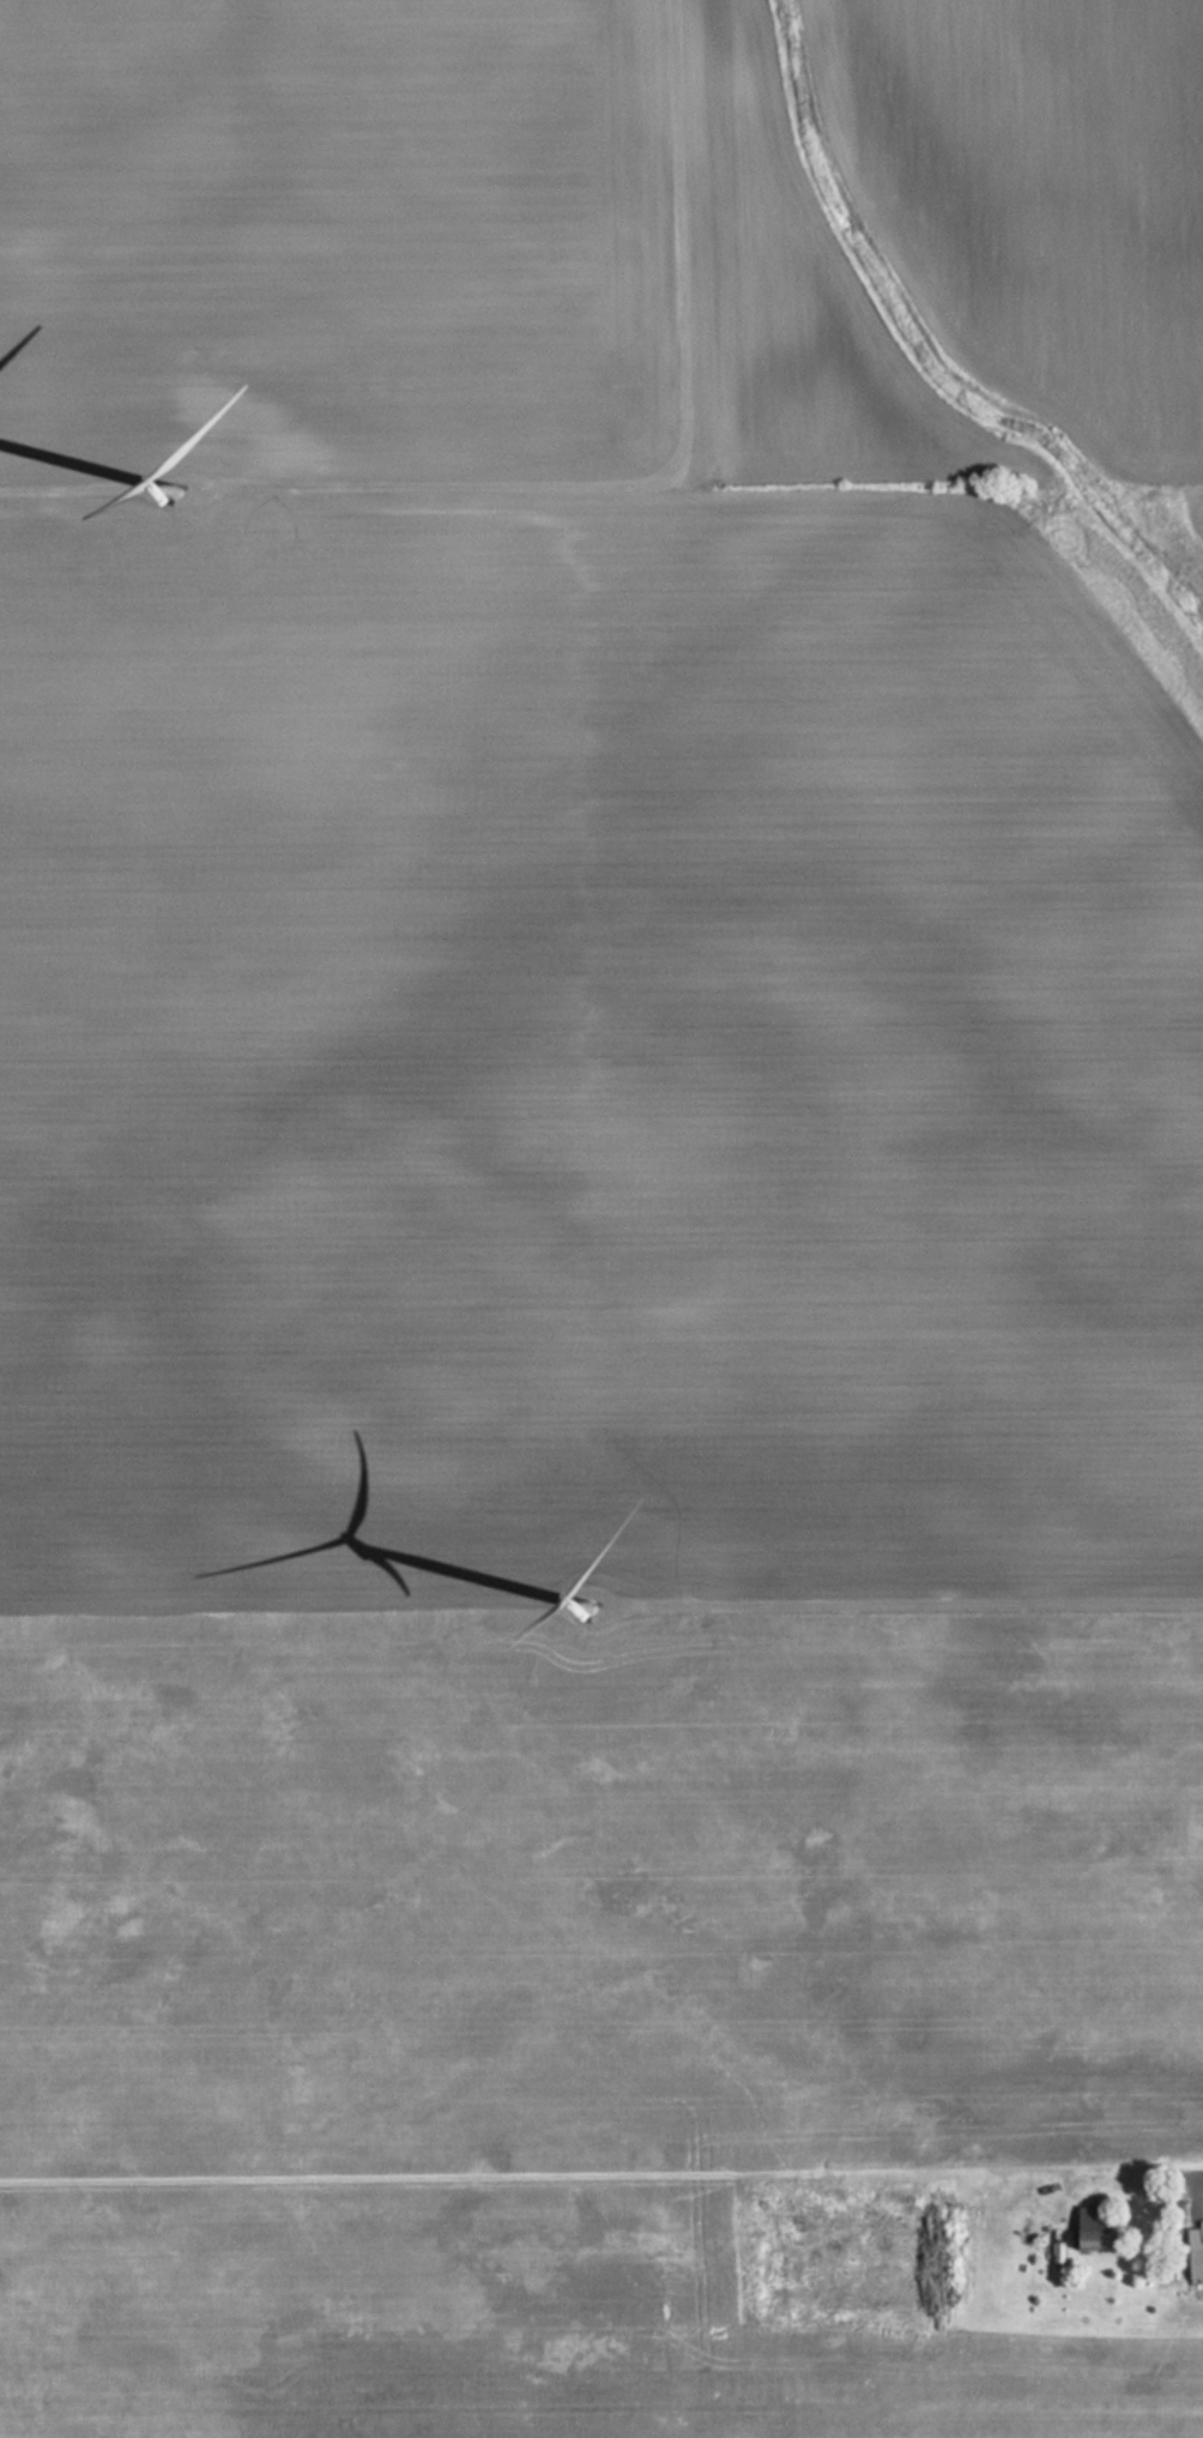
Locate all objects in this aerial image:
wind turbine: (159, 495)
wind turbine: (580, 1603)
building: (1092, 2229)
building: (1196, 2262)

